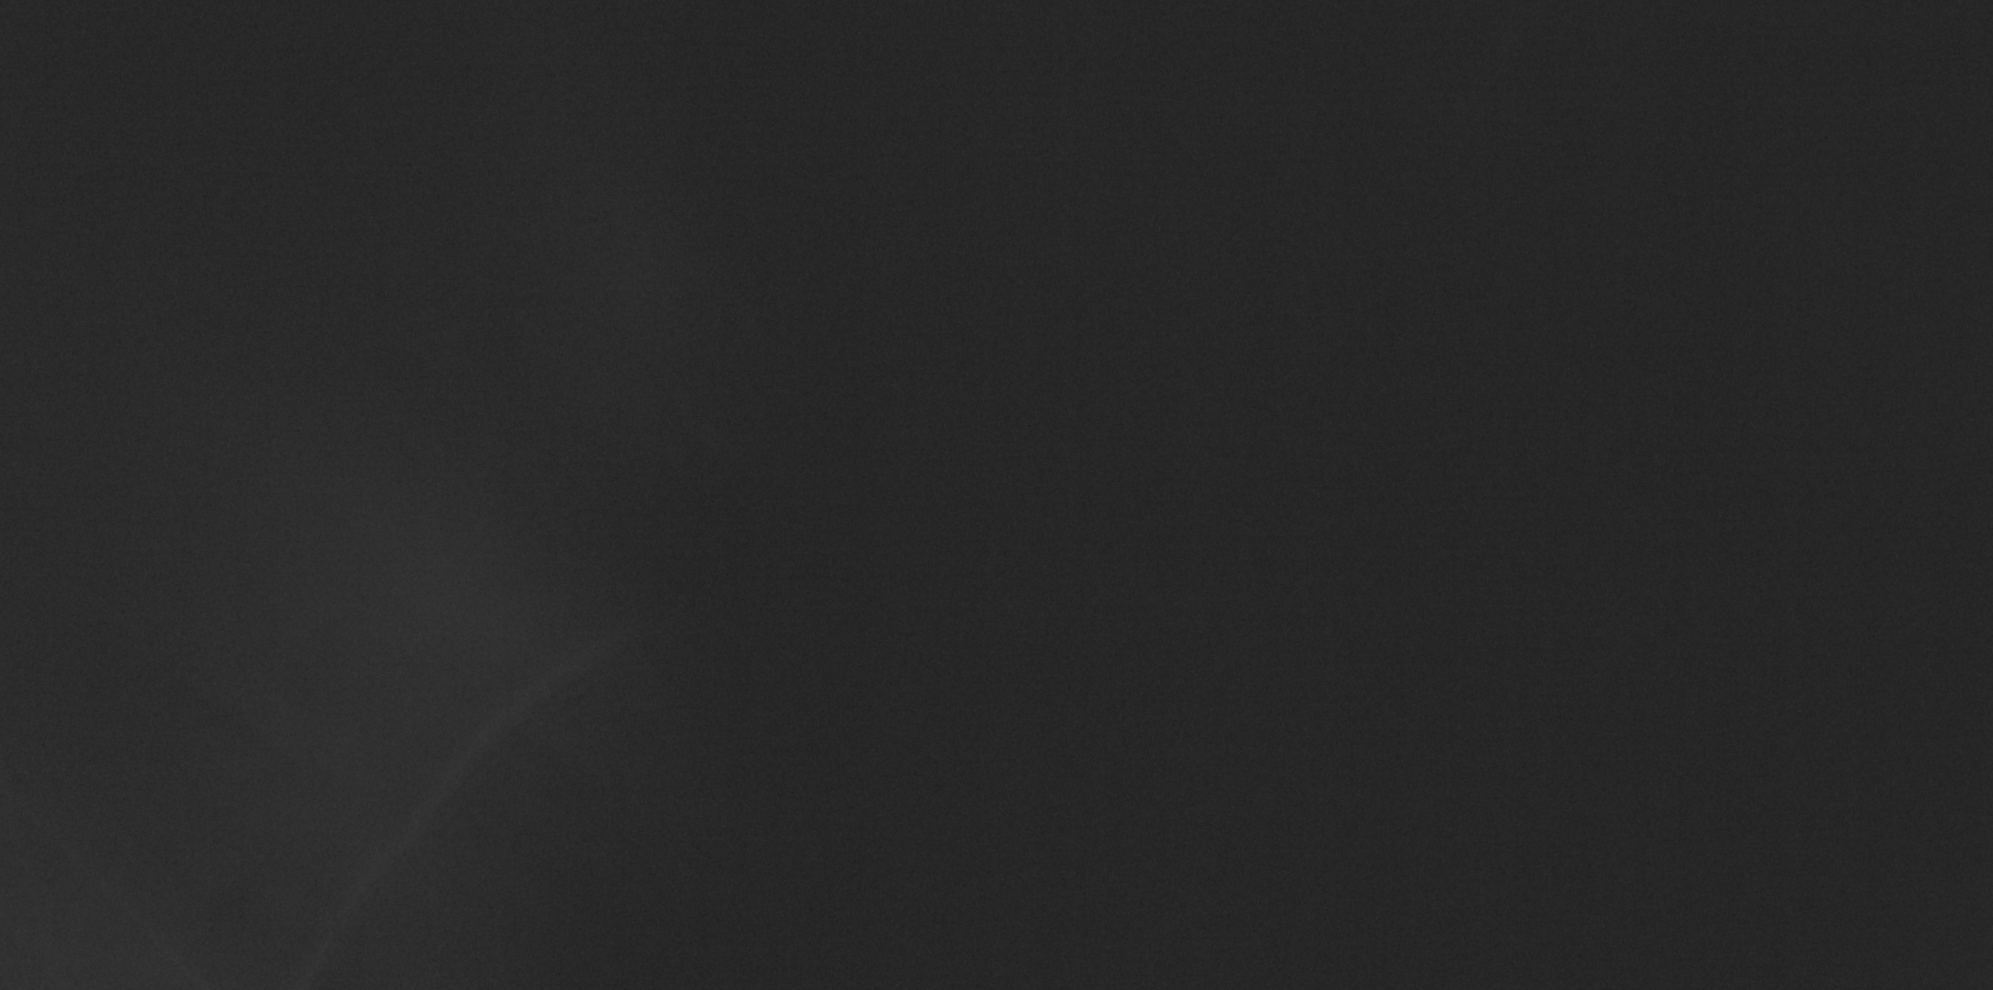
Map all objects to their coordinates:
river: (49, 314)

